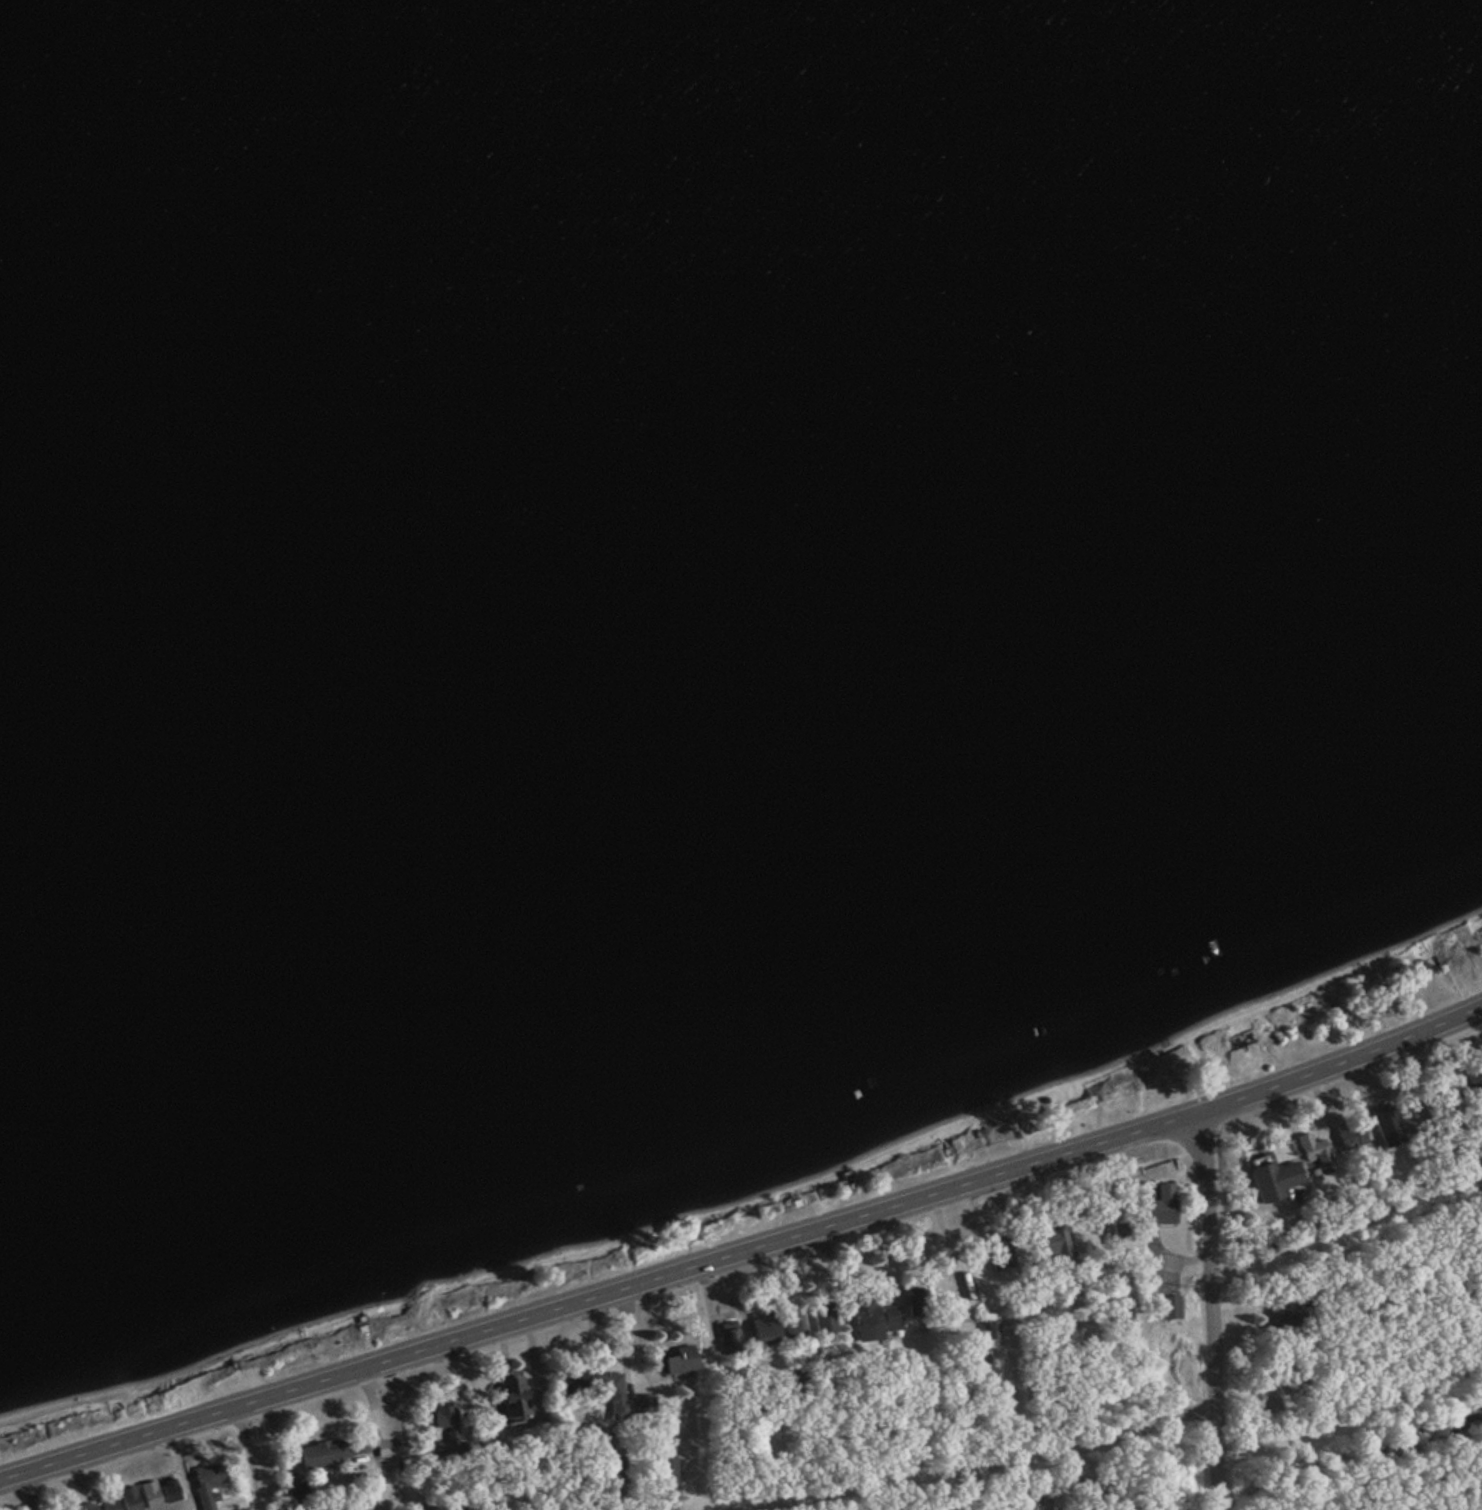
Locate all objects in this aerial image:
building: (1350, 1138)
building: (1313, 1151)
building: (1271, 1179)
building: (1162, 1206)
building: (1114, 1229)
building: (1055, 1245)
road: (743, 1252)
building: (1004, 1252)
building: (915, 1302)
building: (1169, 1308)
road: (1206, 1311)
building: (874, 1319)
building: (824, 1320)
building: (1280, 1322)
building: (795, 1329)
building: (765, 1332)
building: (989, 1334)
building: (729, 1337)
building: (682, 1362)
building: (574, 1383)
building: (613, 1392)
building: (514, 1398)
building: (1265, 1402)
road: (1347, 1414)
building: (448, 1421)
road: (383, 1437)
building: (325, 1456)
road: (255, 1459)
road: (972, 1459)
building: (613, 1470)
building: (667, 1471)
building: (210, 1484)
road: (187, 1491)
building: (151, 1495)
building: (130, 1499)
building: (110, 1504)
building: (91, 1507)

